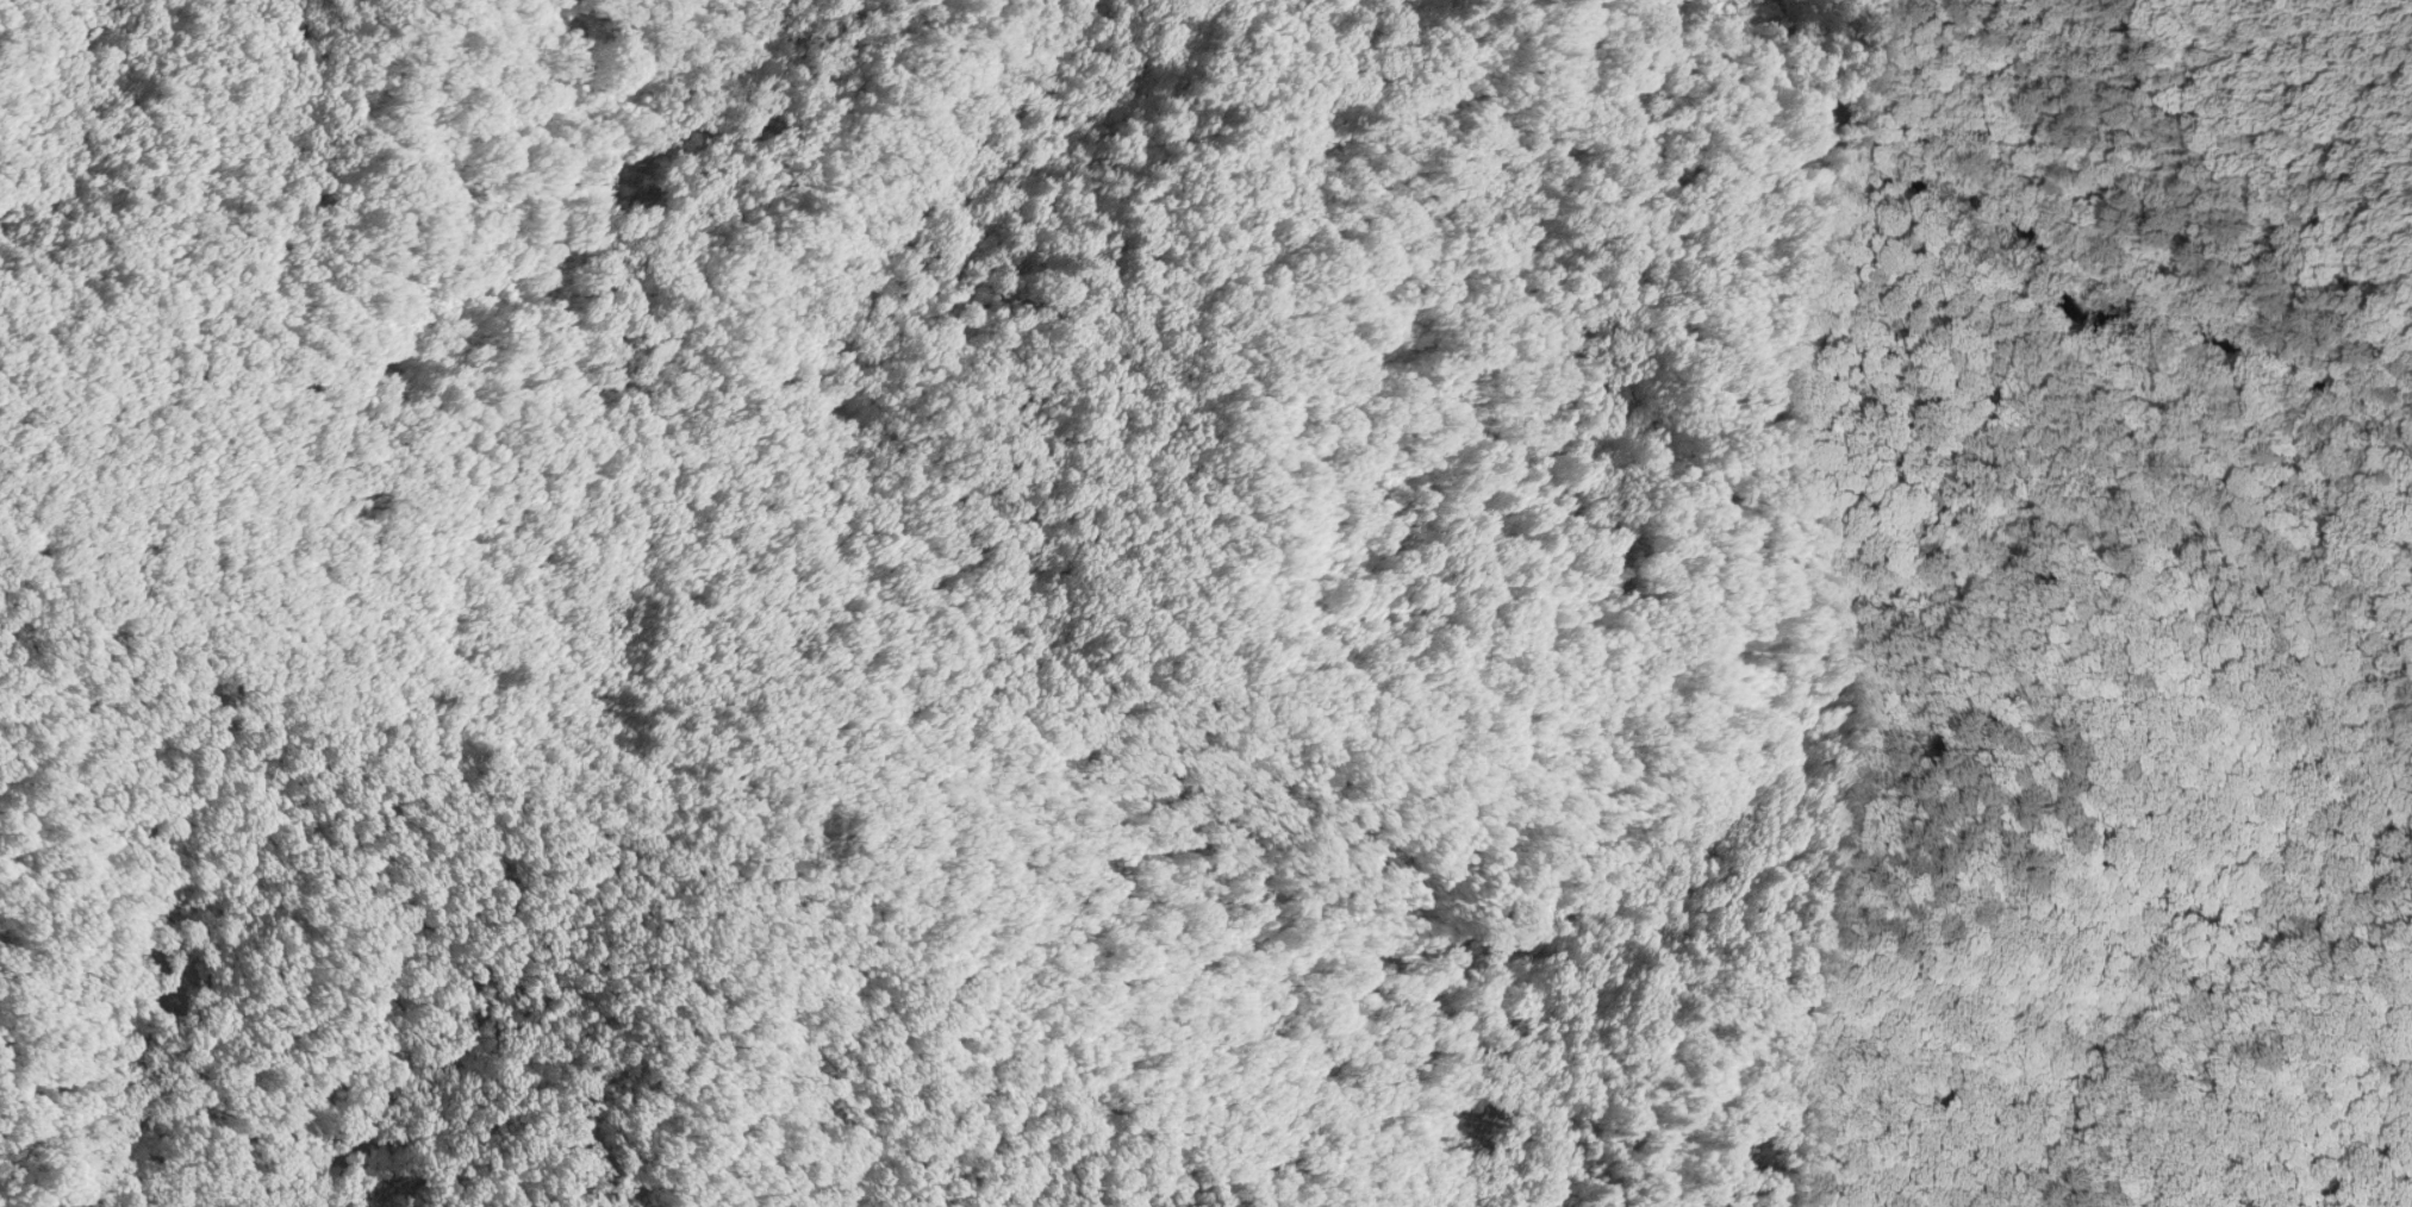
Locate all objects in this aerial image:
road: (625, 720)

